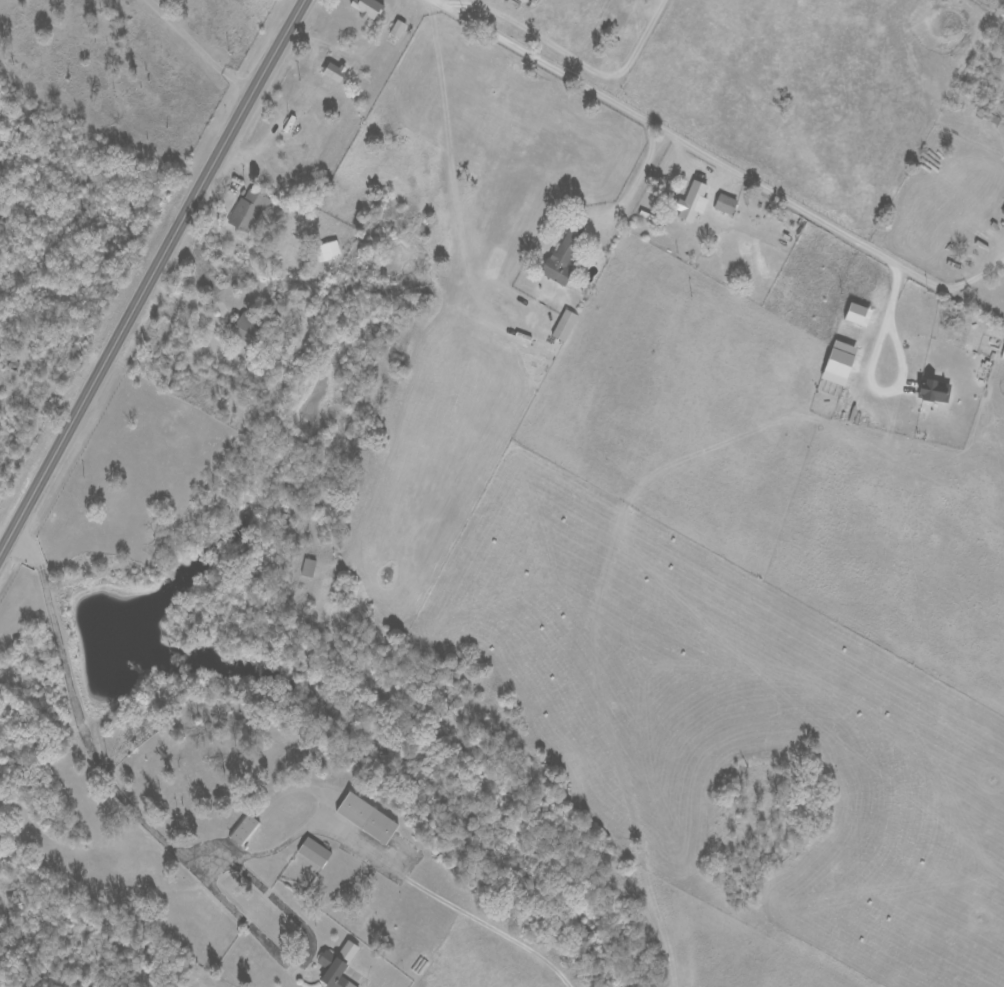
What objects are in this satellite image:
building: (367, 7)
road: (451, 7)
building: (397, 28)
road: (188, 49)
building: (333, 71)
road: (716, 165)
road: (635, 177)
road: (257, 179)
building: (692, 202)
building: (725, 203)
building: (249, 210)
building: (327, 251)
building: (562, 258)
road: (148, 276)
road: (971, 280)
road: (220, 303)
building: (858, 314)
building: (564, 325)
building: (248, 329)
road: (769, 349)
building: (839, 363)
road: (870, 372)
building: (934, 390)
building: (307, 568)
road: (98, 766)
building: (367, 818)
building: (244, 829)
building: (314, 852)
building: (337, 966)

